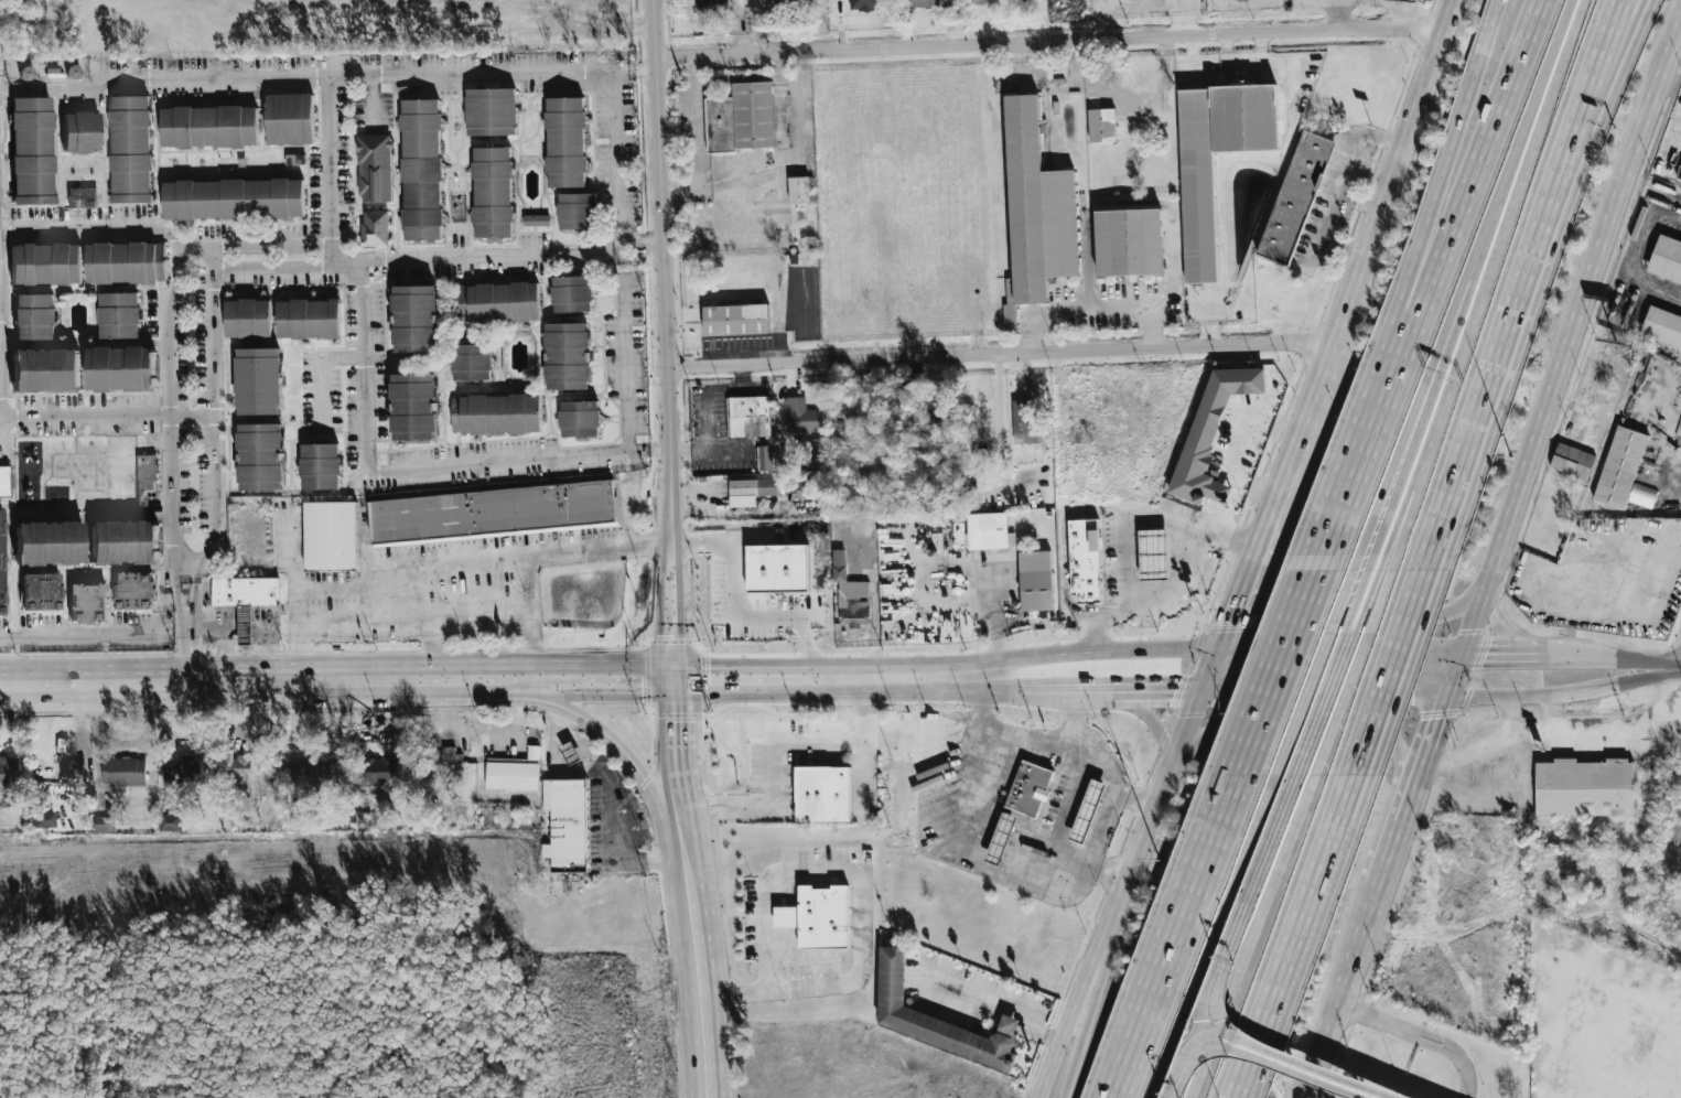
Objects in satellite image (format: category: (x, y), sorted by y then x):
building: (1014, 0)
building: (920, 3)
building: (970, 3)
road: (1405, 3)
building: (776, 4)
building: (865, 4)
road: (1400, 6)
building: (720, 7)
road: (1337, 13)
road: (1182, 18)
road: (602, 25)
road: (1047, 40)
road: (1260, 45)
road: (1192, 49)
road: (1226, 49)
road: (1607, 75)
road: (1613, 75)
road: (326, 77)
road: (370, 103)
building: (491, 111)
building: (741, 118)
building: (288, 119)
road: (696, 122)
road: (796, 123)
building: (1102, 126)
building: (208, 127)
building: (79, 132)
building: (564, 142)
building: (129, 149)
road: (618, 149)
building: (31, 151)
road: (1513, 151)
road: (1267, 157)
road: (1452, 166)
road: (1468, 166)
building: (374, 168)
building: (420, 169)
road: (331, 170)
road: (1390, 175)
road: (1340, 181)
road: (1519, 181)
building: (799, 189)
road: (714, 191)
building: (492, 192)
building: (1296, 195)
building: (82, 197)
building: (231, 198)
building: (577, 211)
building: (1036, 212)
building: (1198, 216)
building: (536, 219)
road: (94, 228)
building: (375, 228)
road: (640, 241)
building: (1129, 243)
road: (1634, 243)
road: (1343, 245)
road: (475, 256)
road: (1087, 258)
road: (640, 259)
building: (1667, 259)
building: (125, 263)
building: (44, 265)
road: (274, 269)
road: (667, 276)
road: (1669, 293)
building: (571, 294)
building: (497, 302)
road: (1095, 305)
road: (780, 313)
building: (118, 315)
building: (33, 317)
building: (247, 319)
building: (308, 319)
building: (736, 319)
building: (413, 320)
building: (1662, 326)
road: (171, 331)
road: (1566, 338)
road: (1002, 351)
building: (565, 356)
road: (1502, 359)
road: (625, 360)
building: (471, 363)
building: (117, 369)
building: (42, 370)
road: (321, 370)
building: (257, 383)
road: (705, 389)
road: (1318, 400)
building: (411, 408)
building: (974, 411)
road: (217, 413)
building: (495, 415)
building: (924, 415)
building: (750, 416)
building: (800, 416)
road: (108, 417)
building: (579, 420)
building: (1024, 423)
building: (1210, 431)
road: (999, 434)
road: (1404, 435)
road: (1413, 437)
road: (711, 450)
road: (649, 451)
building: (815, 452)
road: (1359, 453)
building: (258, 457)
building: (765, 457)
road: (1247, 460)
building: (1572, 461)
road: (1416, 466)
road: (1423, 466)
building: (319, 467)
building: (1620, 467)
road: (390, 471)
building: (146, 477)
building: (4, 482)
building: (809, 488)
building: (751, 491)
road: (628, 507)
road: (728, 512)
road: (1078, 512)
building: (495, 513)
road: (1267, 527)
building: (988, 530)
building: (330, 536)
road: (721, 540)
building: (120, 542)
building: (46, 545)
road: (292, 551)
building: (1153, 555)
gas station: (1153, 555)
road: (1127, 558)
building: (1085, 559)
road: (459, 562)
building: (1, 564)
building: (777, 568)
road: (187, 569)
road: (532, 578)
building: (1036, 580)
road: (1173, 588)
building: (132, 589)
building: (246, 590)
road: (315, 590)
building: (41, 592)
road: (176, 592)
road: (193, 592)
building: (850, 594)
building: (88, 603)
road: (482, 607)
road: (1311, 607)
road: (674, 613)
road: (399, 614)
road: (739, 615)
road: (998, 616)
road: (1508, 621)
building: (245, 623)
traffic signals: (1227, 623)
road: (1224, 627)
road: (85, 633)
road: (536, 639)
road: (430, 643)
road: (808, 643)
road: (188, 647)
traffic signals: (1248, 647)
road: (1100, 649)
road: (298, 652)
road: (1336, 653)
road: (1527, 658)
traffic signals: (1486, 659)
road: (1635, 663)
road: (1680, 665)
road: (1206, 668)
road: (1677, 668)
road: (831, 671)
road: (1353, 672)
road: (1390, 672)
road: (1313, 674)
road: (474, 675)
road: (616, 675)
traffic signals: (675, 675)
road: (1276, 675)
road: (528, 676)
road: (1630, 678)
road: (225, 679)
road: (1023, 682)
road: (519, 689)
road: (1128, 690)
traffic signals: (1174, 690)
road: (1321, 692)
traffic signals: (1414, 695)
road: (1517, 696)
road: (1552, 712)
road: (1146, 715)
road: (1518, 715)
traffic signals: (1437, 718)
road: (1316, 721)
road: (1560, 726)
road: (1430, 738)
road: (677, 742)
road: (1047, 742)
road: (812, 744)
building: (62, 747)
road: (1082, 749)
building: (573, 752)
gas station: (573, 752)
road: (632, 755)
building: (449, 764)
building: (251, 766)
building: (198, 768)
building: (517, 771)
building: (119, 772)
building: (379, 773)
building: (321, 774)
building: (7, 783)
building: (1587, 786)
building: (1031, 788)
building: (827, 792)
road: (1155, 797)
road: (714, 800)
road: (1287, 803)
road: (612, 806)
road: (1110, 809)
building: (1090, 810)
gas station: (1090, 810)
road: (714, 814)
road: (1273, 816)
road: (1060, 818)
building: (41, 819)
building: (171, 822)
building: (105, 823)
building: (569, 823)
road: (682, 830)
building: (1003, 837)
gas station: (1003, 837)
road: (966, 844)
road: (1391, 849)
road: (687, 859)
road: (825, 869)
road: (687, 876)
building: (789, 916)
building: (825, 916)
road: (1364, 933)
road: (1250, 936)
road: (1300, 937)
road: (1175, 938)
road: (1214, 938)
road: (700, 990)
road: (1077, 1001)
road: (1087, 1001)
road: (996, 1005)
building: (936, 1020)
road: (1329, 1032)
road: (1420, 1038)
road: (1185, 1048)
road: (1195, 1057)
road: (1315, 1068)
road: (1304, 1074)
road: (1307, 1089)
road: (1308, 1089)

